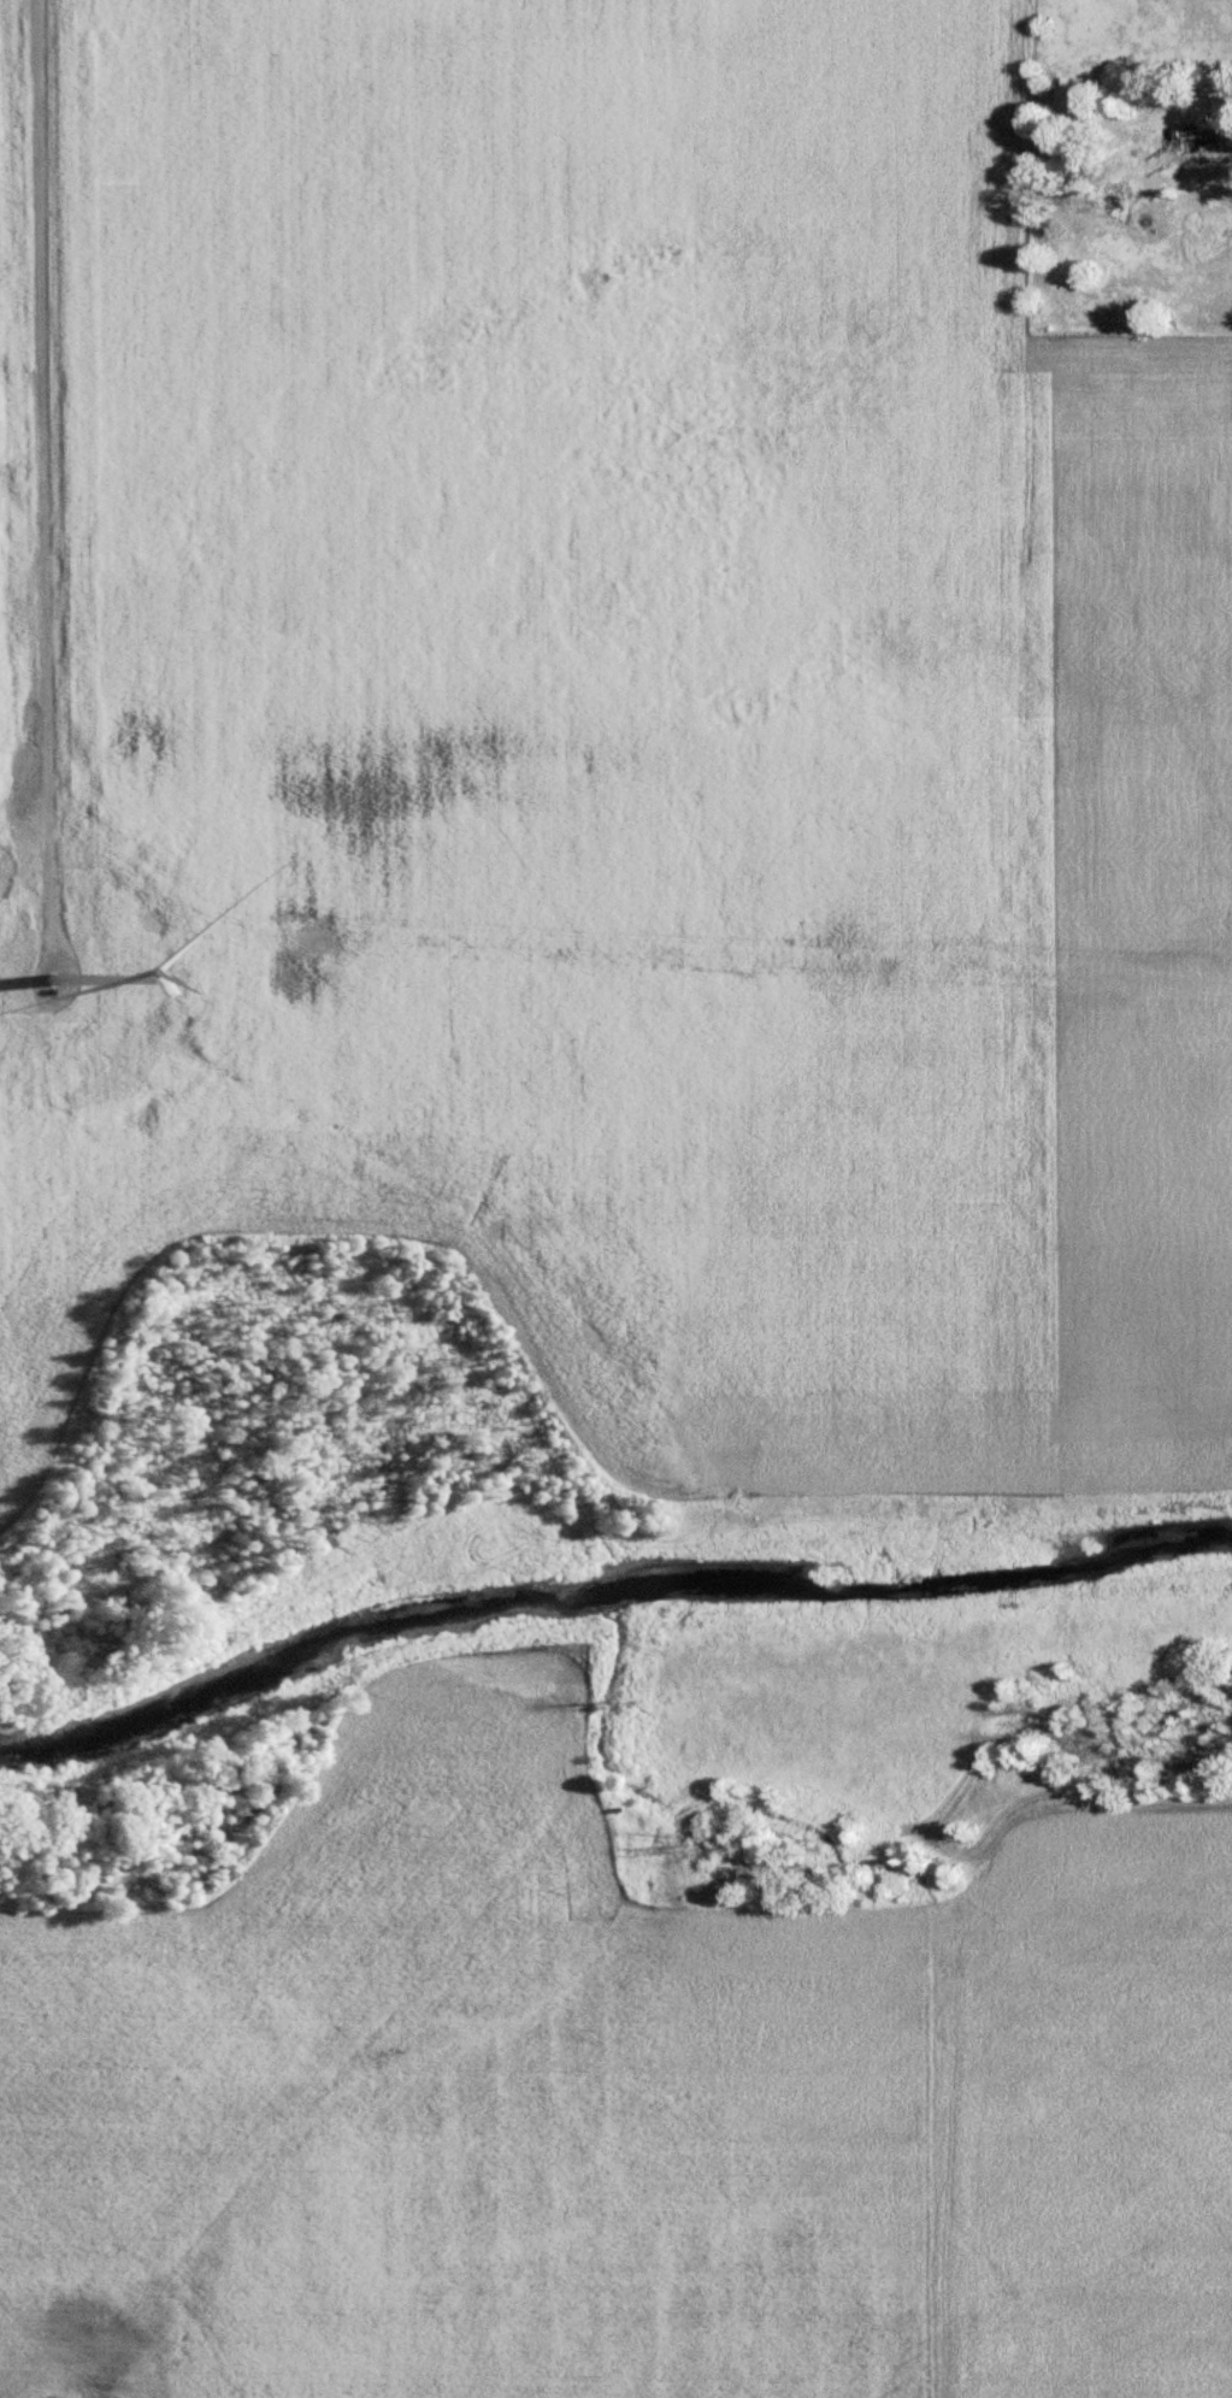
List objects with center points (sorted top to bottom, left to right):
road: (1220, 93)
building: (1189, 140)
wind turbine: (48, 978)
river: (609, 1585)

